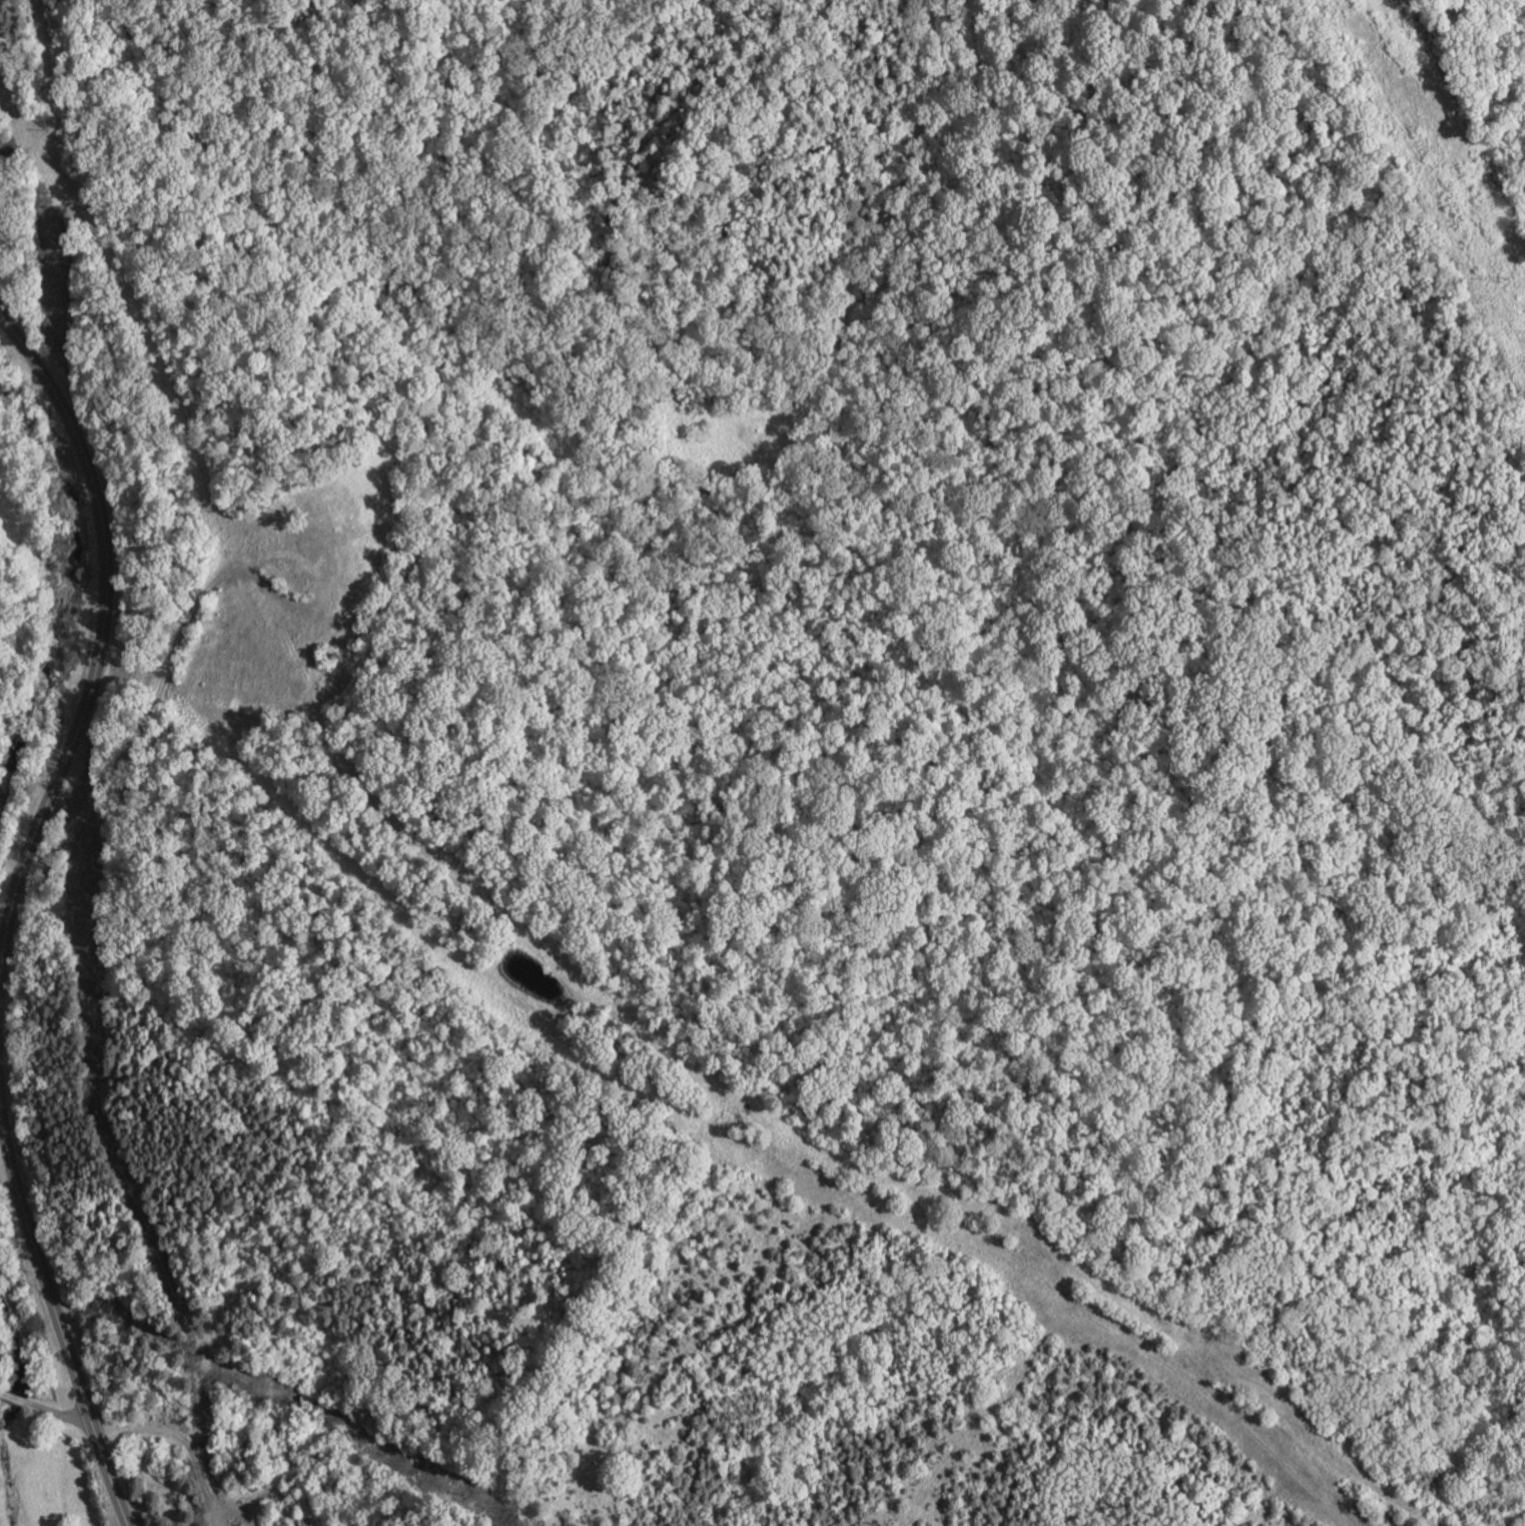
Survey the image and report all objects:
power tower: (1503, 275)
road: (102, 634)
road: (57, 1319)
road: (1, 1392)
road: (14, 1396)
road: (59, 1413)
road: (182, 1442)

